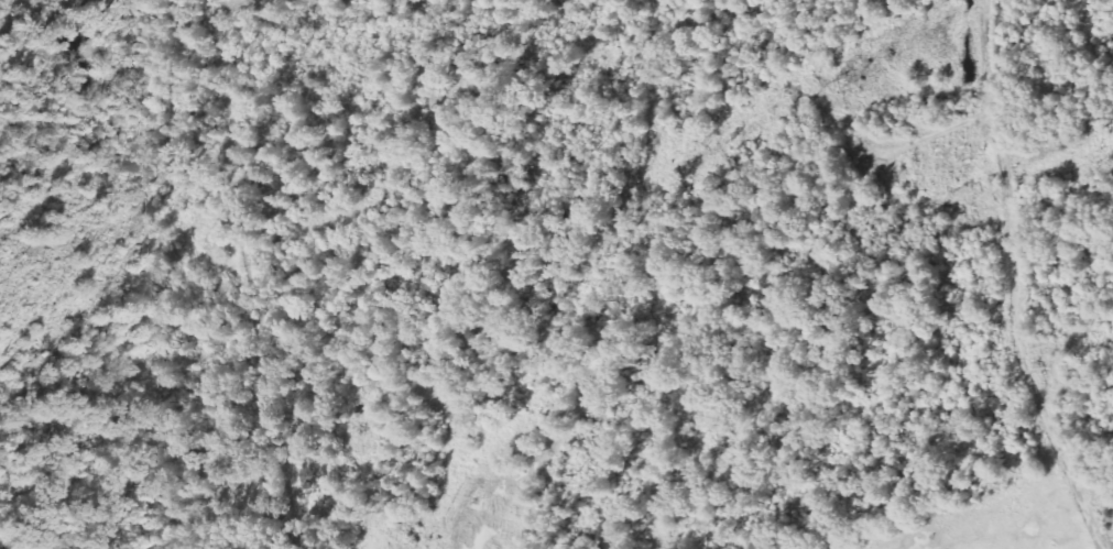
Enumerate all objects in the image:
road: (1011, 282)

